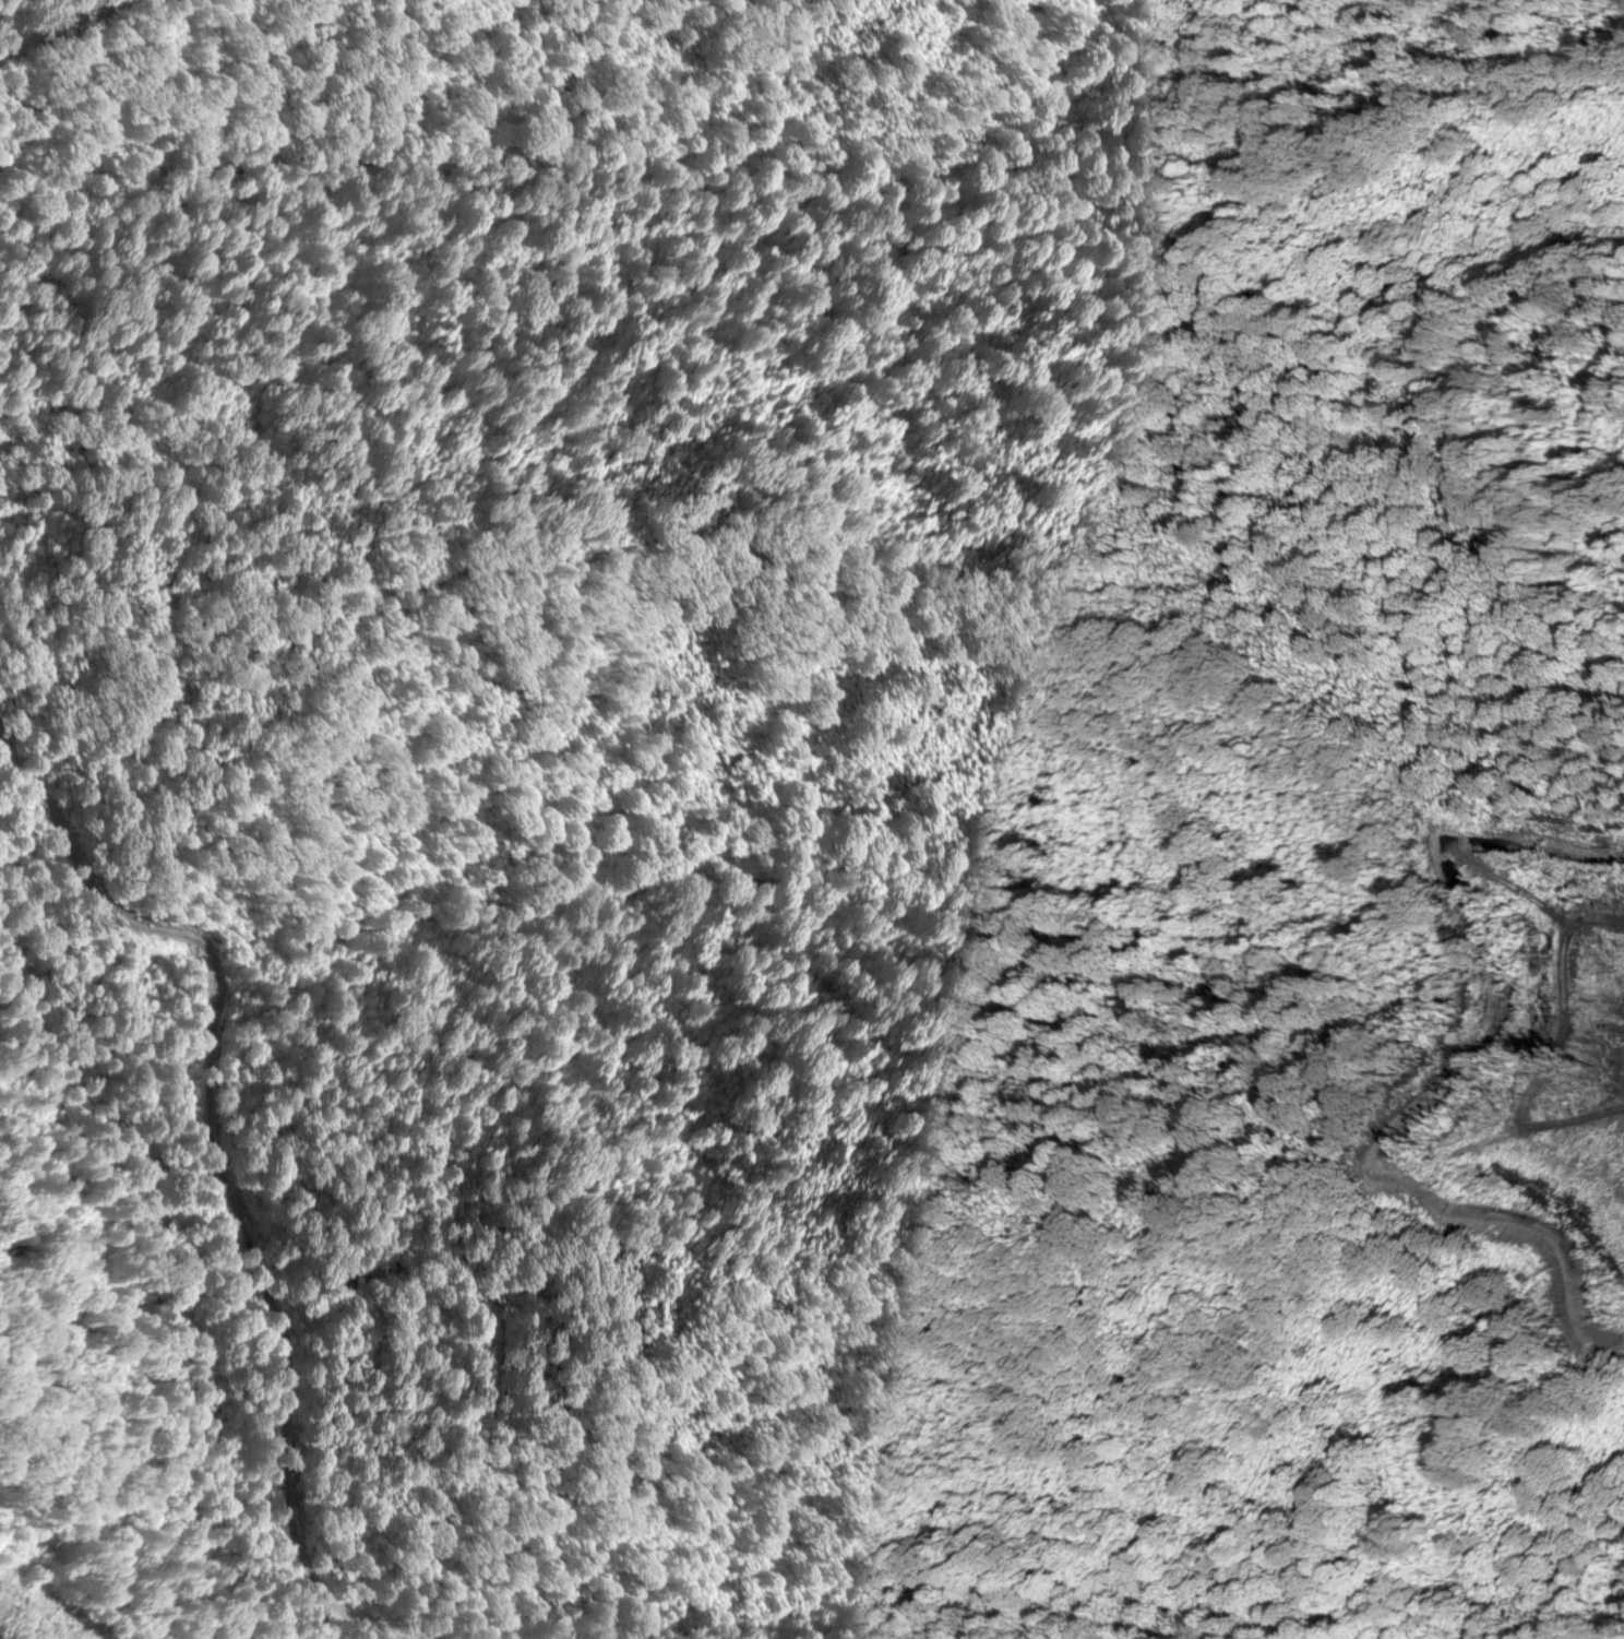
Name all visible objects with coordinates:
quarry: (1532, 1057)

